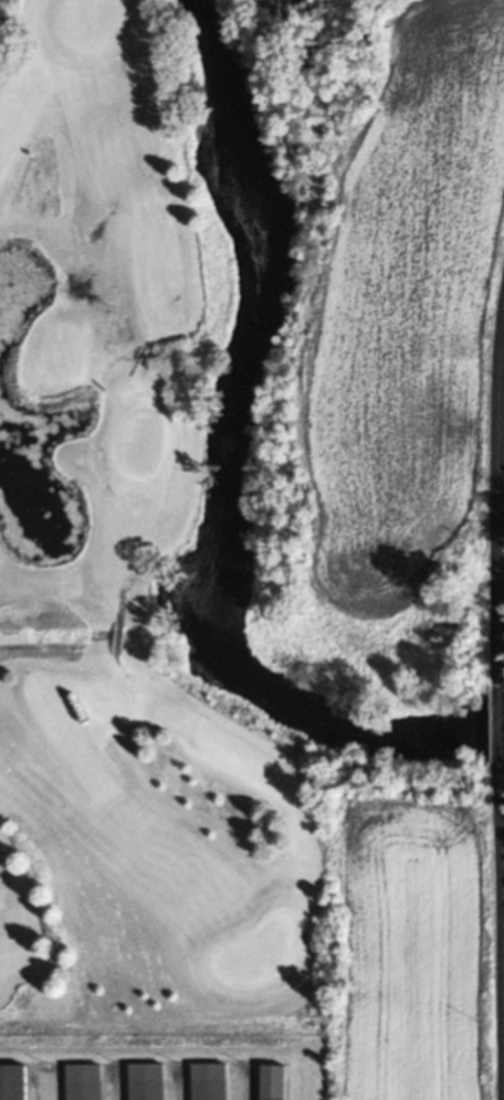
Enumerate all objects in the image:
river: (191, 486)
road: (500, 506)
park: (126, 584)
road: (500, 721)
road: (502, 872)
building: (80, 1081)
building: (143, 1081)
building: (204, 1081)
building: (269, 1081)

